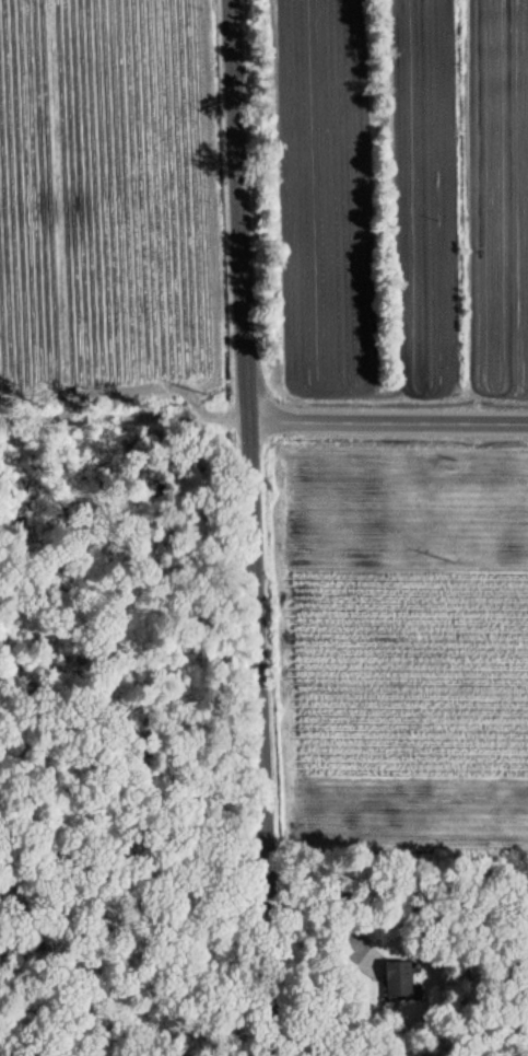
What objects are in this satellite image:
road: (388, 420)
road: (254, 527)
road: (319, 917)
building: (396, 980)

